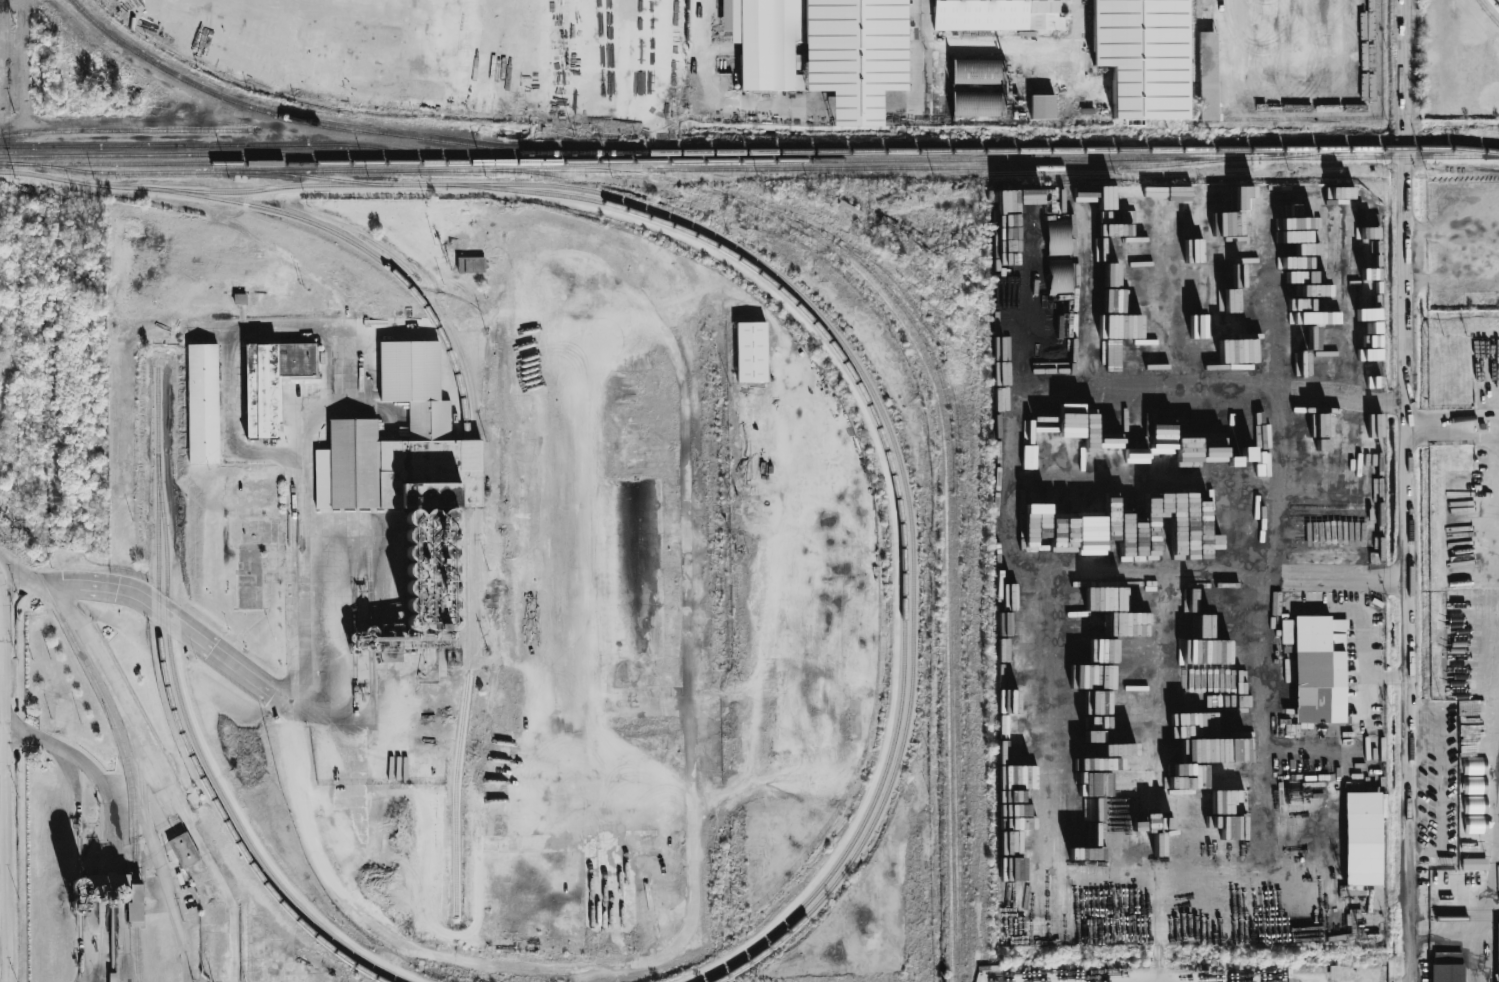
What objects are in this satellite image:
railway: (1494, 5)
railway: (1488, 12)
building: (997, 15)
road: (923, 43)
building: (823, 50)
building: (1143, 56)
road: (611, 73)
building: (1208, 76)
building: (977, 87)
building: (1042, 107)
railway: (301, 120)
railway: (127, 130)
road: (99, 137)
railway: (220, 144)
railway: (1468, 148)
railway: (749, 151)
railway: (1318, 152)
railway: (1378, 157)
railway: (632, 161)
railway: (746, 169)
railway: (528, 171)
railway: (120, 172)
railway: (656, 177)
railway: (268, 188)
railway: (590, 191)
building: (1054, 202)
railway: (761, 206)
railway: (295, 216)
railway: (684, 230)
building: (1057, 237)
building: (471, 264)
building: (1059, 274)
railway: (450, 326)
building: (751, 352)
road: (227, 371)
building: (408, 371)
building: (272, 381)
road: (346, 386)
building: (202, 403)
building: (429, 420)
road: (1452, 428)
building: (1110, 457)
building: (352, 462)
building: (427, 473)
railway: (466, 473)
railway: (475, 473)
railway: (385, 474)
railway: (393, 474)
road: (1405, 491)
road: (1278, 496)
railway: (946, 536)
railway: (955, 555)
road: (1067, 571)
road: (50, 583)
railway: (386, 589)
railway: (395, 589)
railway: (480, 589)
railway: (57, 609)
road: (1364, 637)
railway: (469, 644)
railway: (477, 657)
building: (1319, 670)
road: (307, 691)
road: (1365, 696)
railway: (172, 709)
railway: (908, 715)
railway: (898, 724)
road: (1453, 752)
railway: (200, 757)
building: (1474, 766)
road: (4, 785)
building: (1474, 785)
railway: (132, 788)
road: (144, 798)
building: (1475, 804)
road: (116, 823)
building: (1475, 824)
building: (1362, 838)
building: (183, 850)
road: (210, 863)
building: (1474, 864)
road: (78, 869)
building: (134, 899)
railway: (135, 900)
railway: (1466, 910)
railway: (1466, 917)
railway: (136, 952)
building: (1447, 972)

